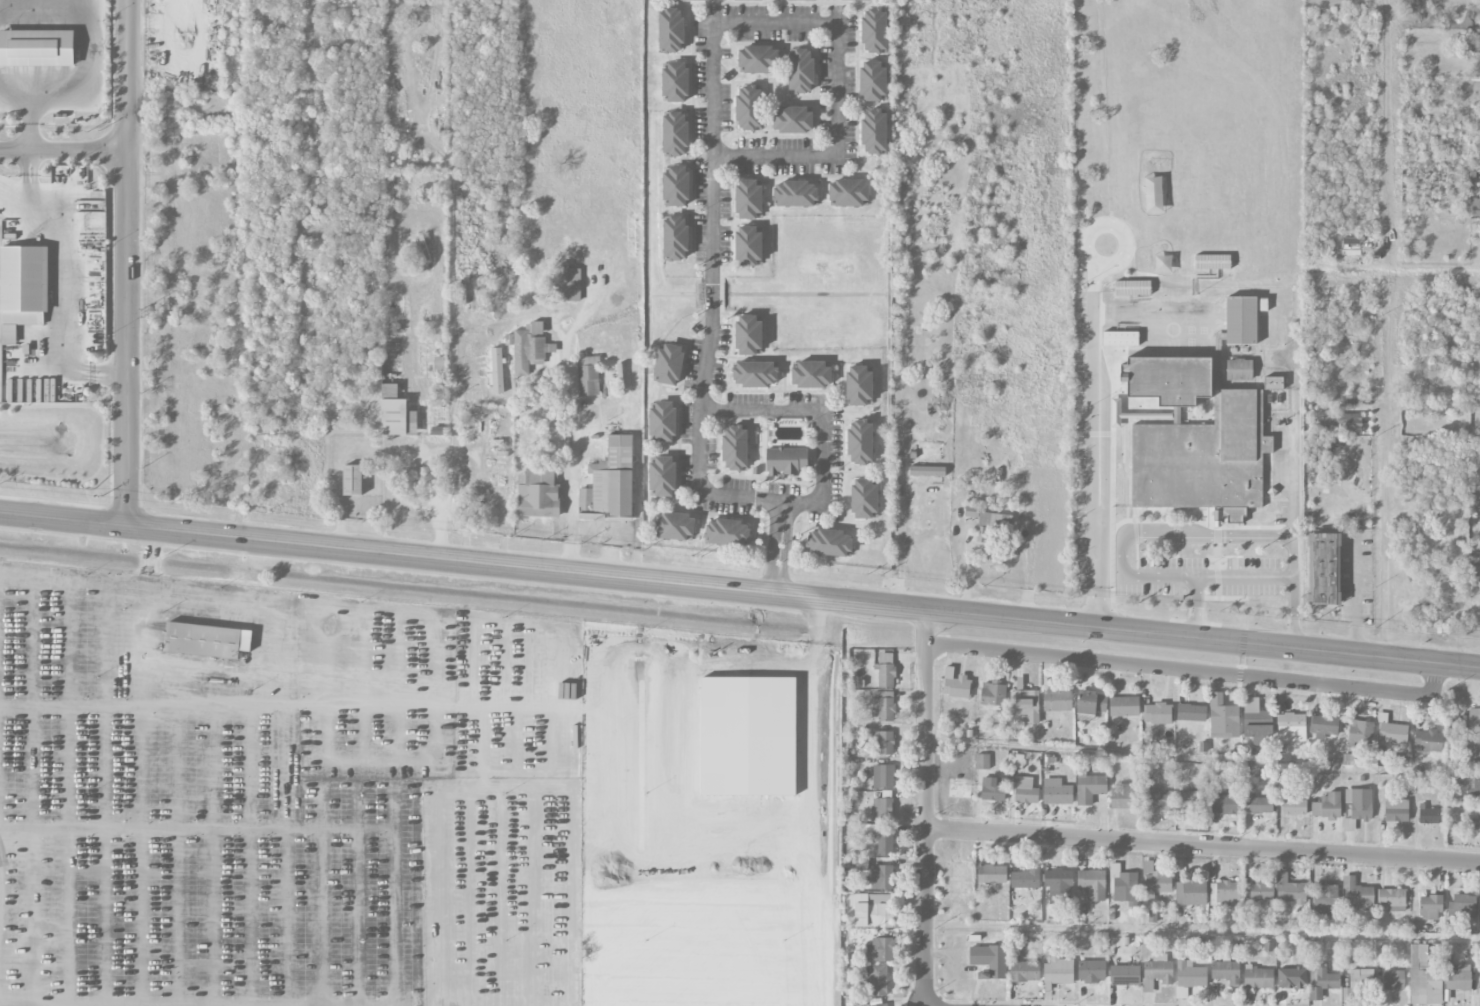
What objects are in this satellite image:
building: (679, 0)
building: (755, 0)
building: (815, 0)
building: (670, 31)
building: (874, 31)
building: (37, 48)
building: (758, 59)
building: (800, 72)
building: (675, 82)
building: (872, 82)
road: (73, 88)
building: (748, 108)
building: (793, 120)
building: (874, 132)
building: (674, 135)
road: (62, 148)
road: (712, 158)
building: (675, 185)
building: (849, 193)
building: (796, 194)
building: (748, 200)
building: (1475, 207)
building: (675, 238)
building: (748, 246)
building: (422, 248)
building: (1211, 262)
road: (126, 263)
road: (56, 268)
building: (568, 285)
building: (1132, 288)
building: (22, 290)
building: (1241, 320)
road: (579, 321)
building: (747, 335)
building: (1119, 339)
building: (529, 348)
building: (668, 364)
building: (496, 370)
building: (1238, 370)
road: (1092, 371)
building: (754, 374)
road: (106, 375)
building: (811, 375)
building: (587, 376)
building: (1272, 383)
building: (858, 386)
road: (822, 413)
building: (396, 414)
building: (662, 422)
building: (1348, 423)
building: (859, 442)
building: (734, 449)
road: (573, 456)
building: (1203, 459)
building: (785, 461)
road: (452, 471)
building: (926, 471)
building: (662, 477)
building: (351, 481)
building: (537, 494)
building: (863, 499)
building: (988, 518)
building: (675, 526)
road: (1385, 531)
building: (726, 533)
road: (1174, 535)
building: (827, 544)
building: (1324, 569)
road: (1244, 580)
road: (740, 590)
road: (1354, 596)
road: (146, 616)
building: (207, 643)
building: (885, 671)
road: (1194, 671)
building: (955, 684)
building: (992, 694)
building: (1056, 700)
building: (1023, 703)
building: (1090, 703)
building: (884, 705)
road: (403, 706)
building: (1123, 706)
building: (1190, 713)
building: (1157, 714)
building: (1222, 718)
building: (1474, 719)
building: (1255, 722)
building: (1322, 726)
building: (1290, 728)
building: (1390, 731)
building: (1359, 732)
building: (1427, 741)
building: (885, 743)
building: (1474, 753)
building: (1014, 761)
building: (982, 762)
building: (884, 777)
building: (1088, 787)
building: (993, 789)
building: (1472, 789)
building: (1024, 791)
building: (1056, 792)
building: (1124, 797)
building: (1157, 801)
building: (1190, 801)
building: (1358, 803)
building: (1224, 804)
building: (1260, 805)
road: (924, 807)
building: (1293, 807)
building: (1326, 807)
road: (799, 808)
building: (881, 810)
building: (1395, 811)
building: (1430, 815)
building: (1474, 820)
building: (884, 844)
road: (1202, 846)
building: (1146, 868)
building: (991, 874)
building: (881, 877)
building: (1025, 879)
building: (1091, 884)
building: (1156, 884)
building: (1122, 885)
building: (1058, 886)
building: (1288, 890)
building: (1260, 891)
building: (1190, 892)
building: (1224, 894)
building: (1356, 894)
building: (1391, 899)
building: (1324, 901)
building: (1461, 906)
building: (1429, 907)
building: (871, 911)
building: (880, 950)
building: (989, 960)
building: (1057, 971)
building: (1091, 971)
building: (1024, 972)
building: (1156, 972)
building: (1225, 972)
building: (1422, 973)
building: (1124, 975)
building: (1189, 975)
building: (1455, 975)
building: (1256, 977)
building: (1360, 978)
building: (876, 980)
building: (1392, 980)
building: (1322, 983)
building: (881, 1005)

